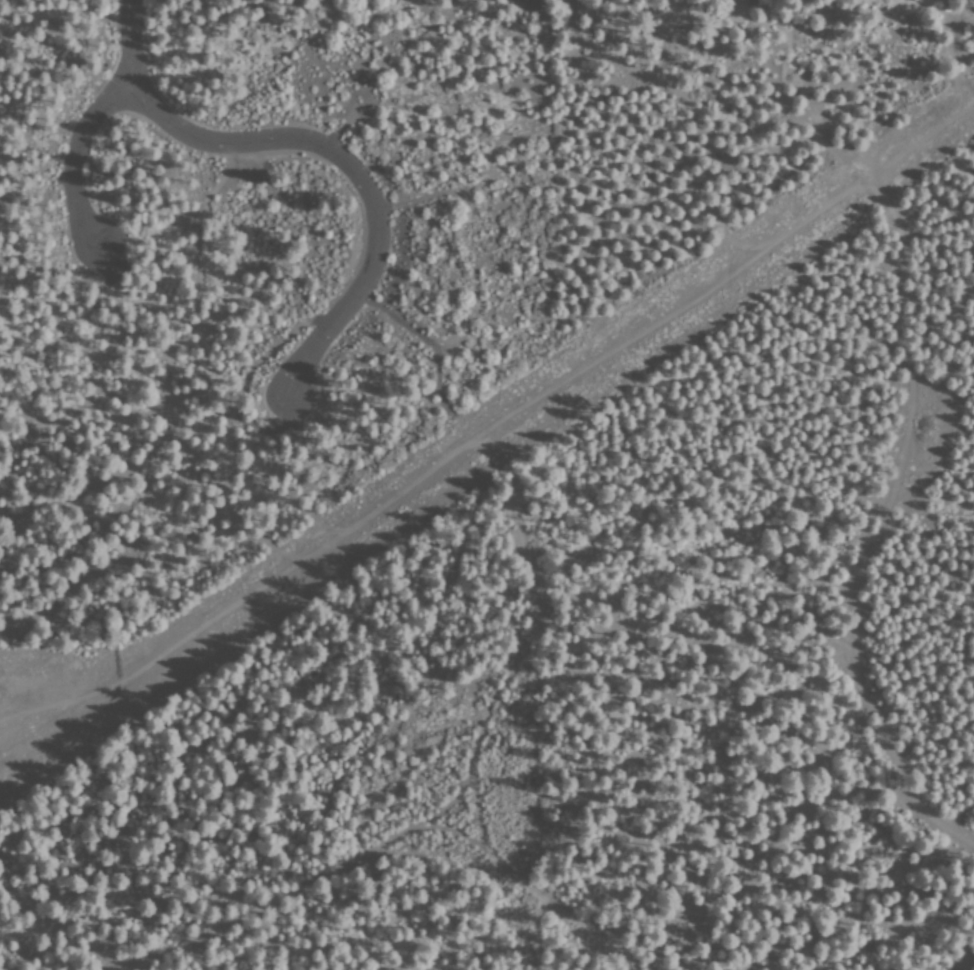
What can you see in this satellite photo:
road: (315, 145)
road: (74, 157)
road: (472, 409)
road: (516, 519)
road: (277, 882)
road: (445, 885)
road: (533, 898)

